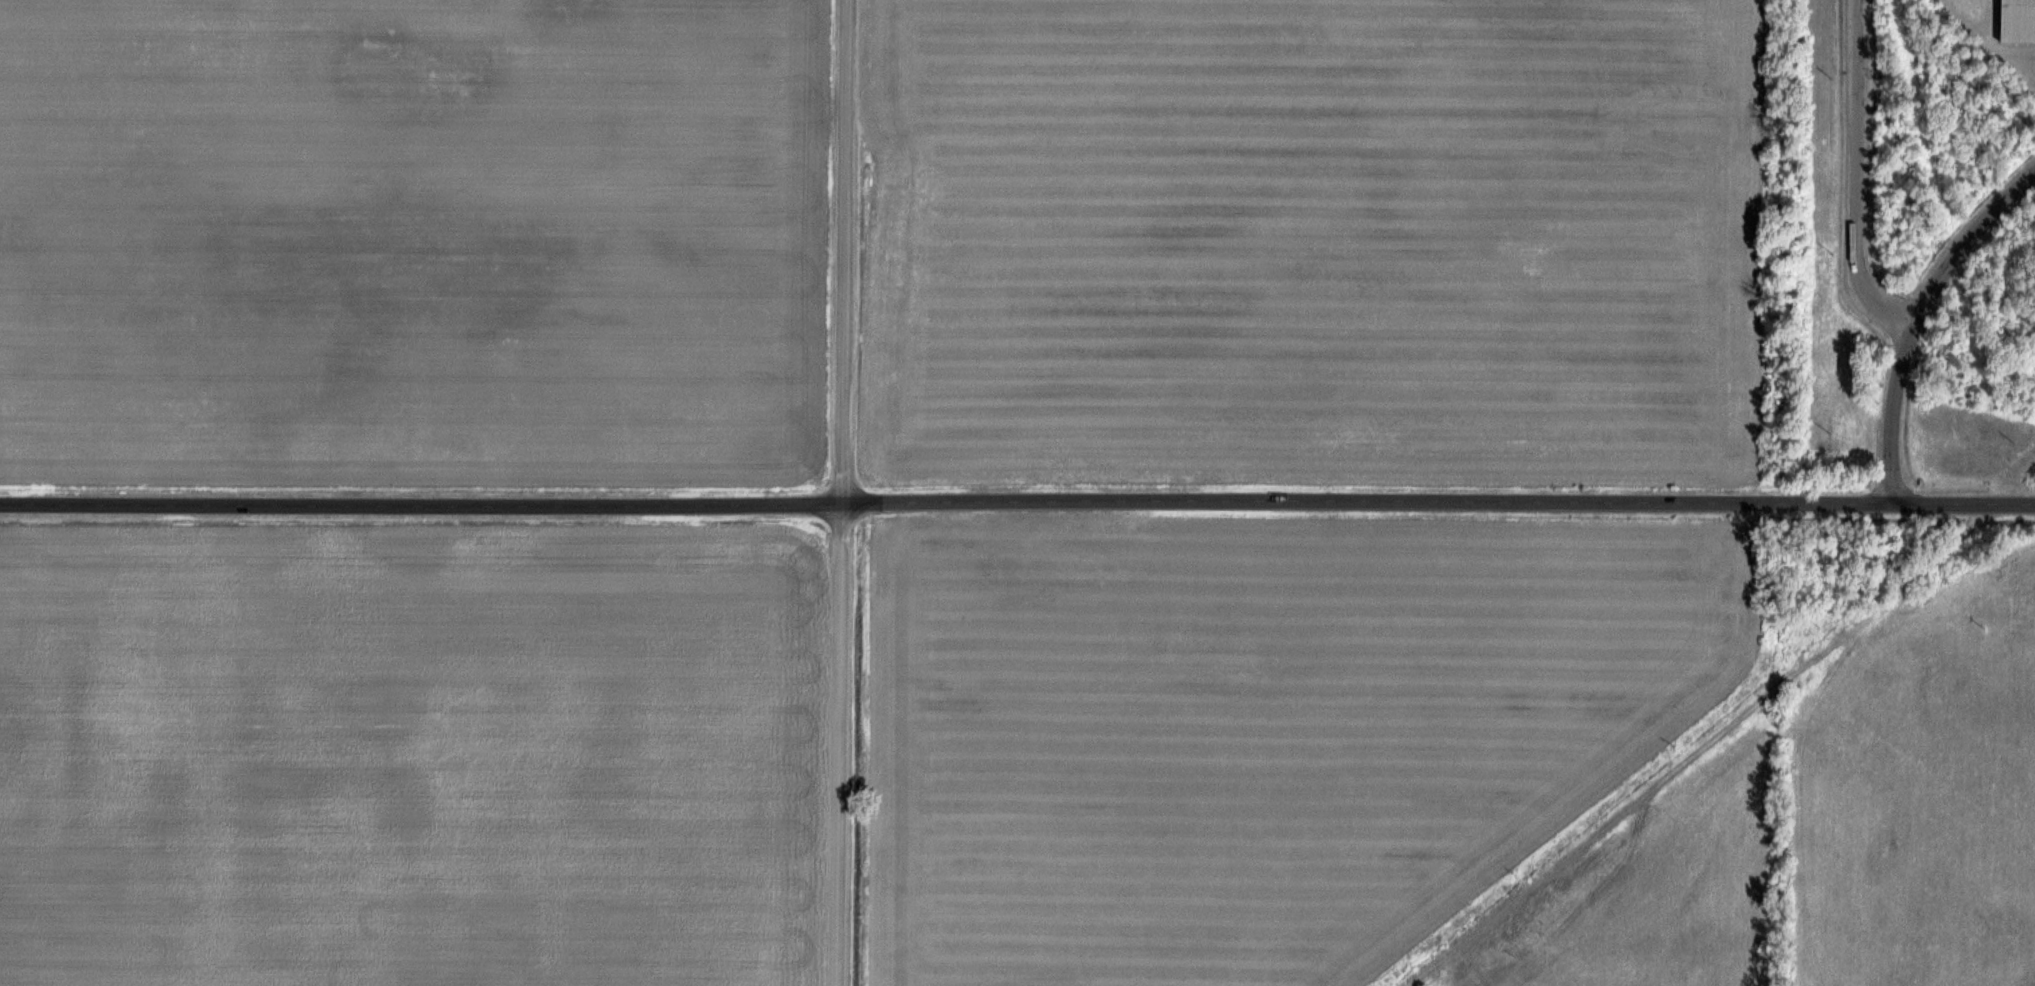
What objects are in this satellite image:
building: (2015, 22)
road: (1847, 183)
road: (1919, 319)
road: (846, 493)
road: (422, 505)
road: (1440, 505)

